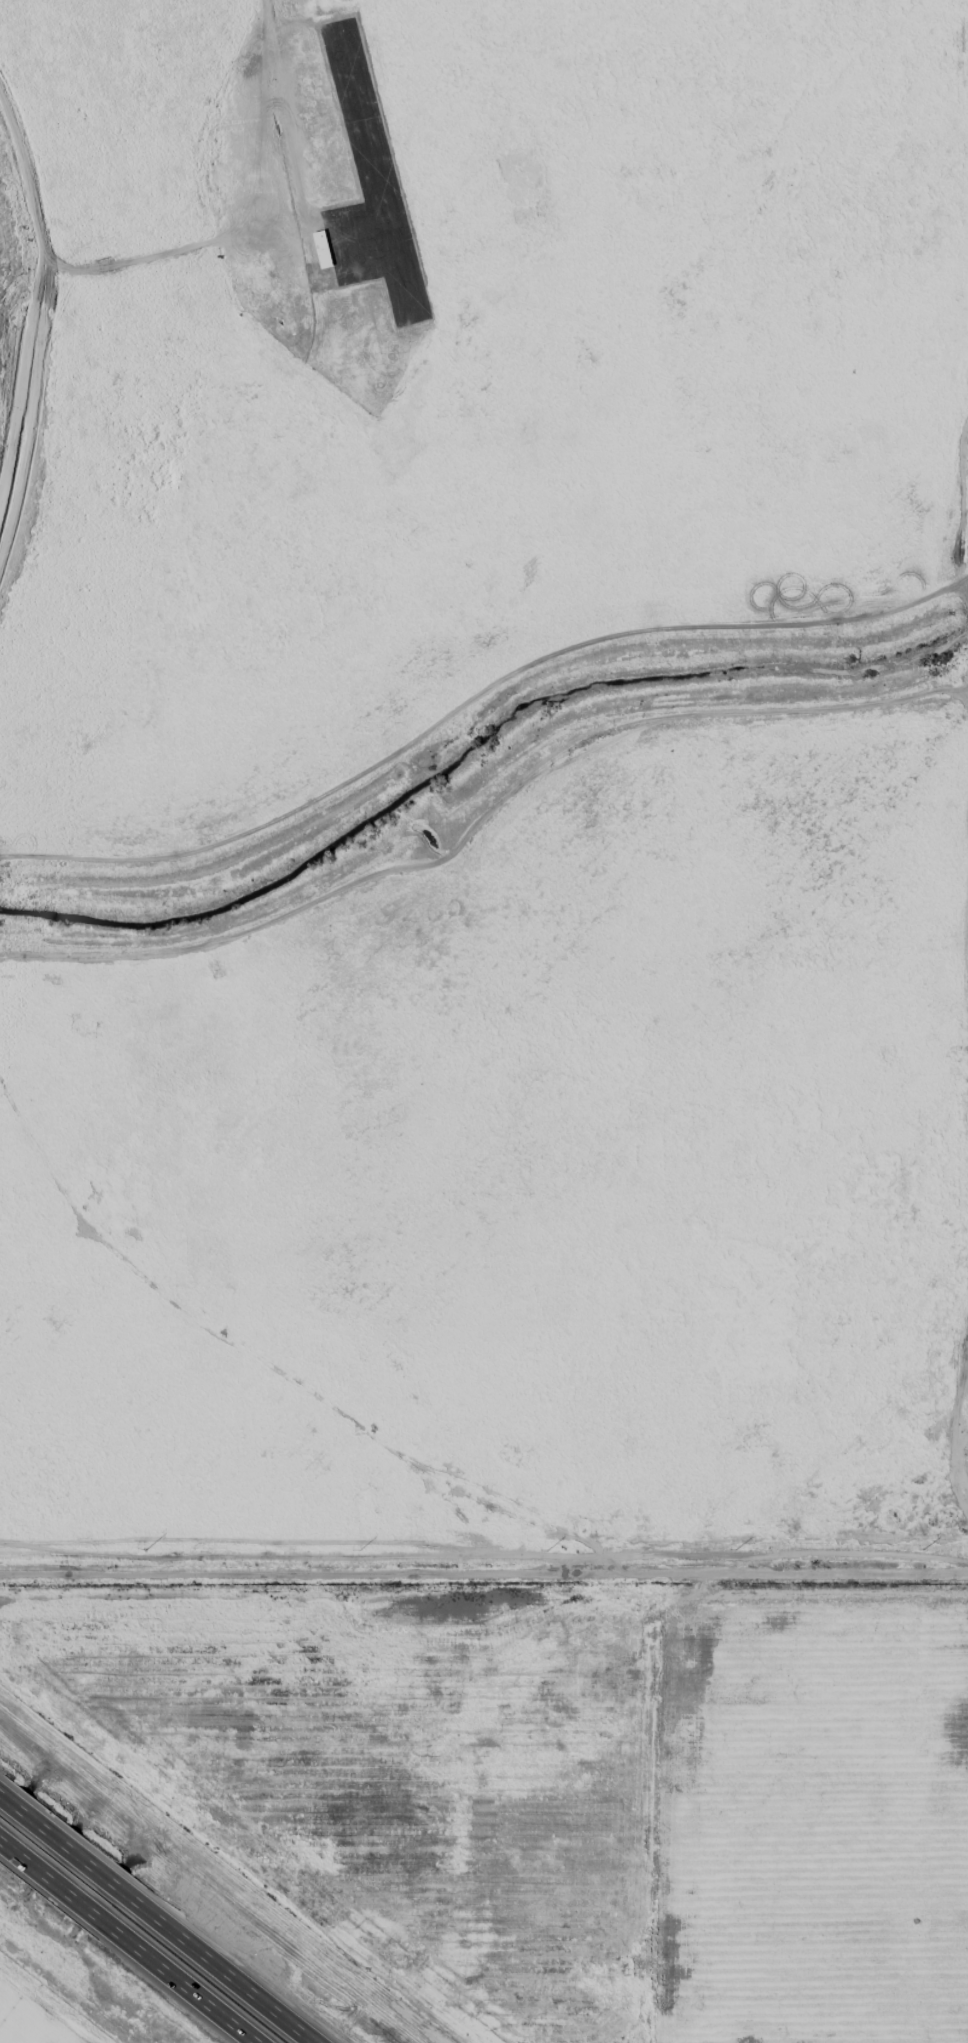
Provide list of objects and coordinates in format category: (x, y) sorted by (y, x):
road: (286, 108)
road: (237, 116)
building: (322, 248)
road: (81, 269)
road: (24, 381)
road: (962, 529)
river: (477, 767)
road: (484, 1560)
road: (1, 1800)
road: (14, 1810)
road: (39, 1830)
road: (5, 1840)
road: (64, 1849)
road: (24, 1855)
road: (88, 1868)
road: (51, 1876)
road: (112, 1888)
road: (74, 1894)
road: (96, 1911)
road: (215, 1970)
road: (184, 1981)

